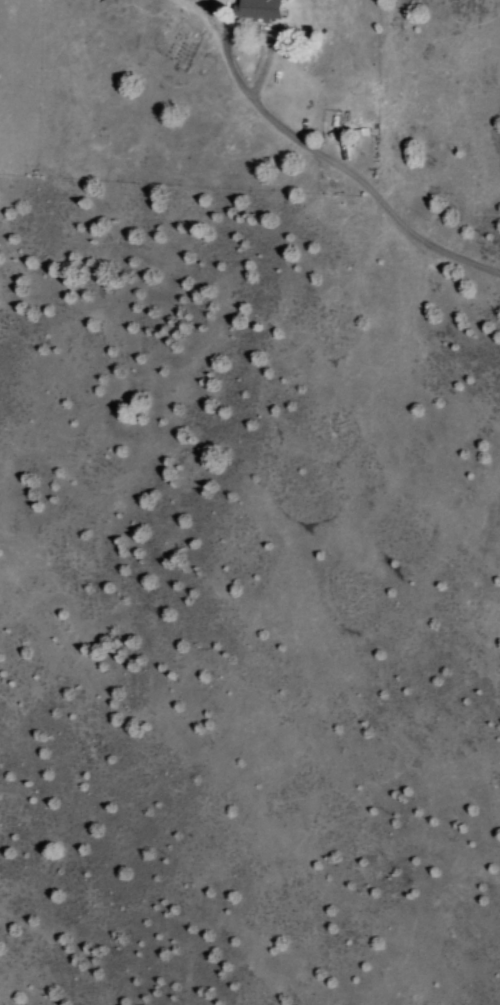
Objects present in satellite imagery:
building: (257, 8)
road: (331, 159)

